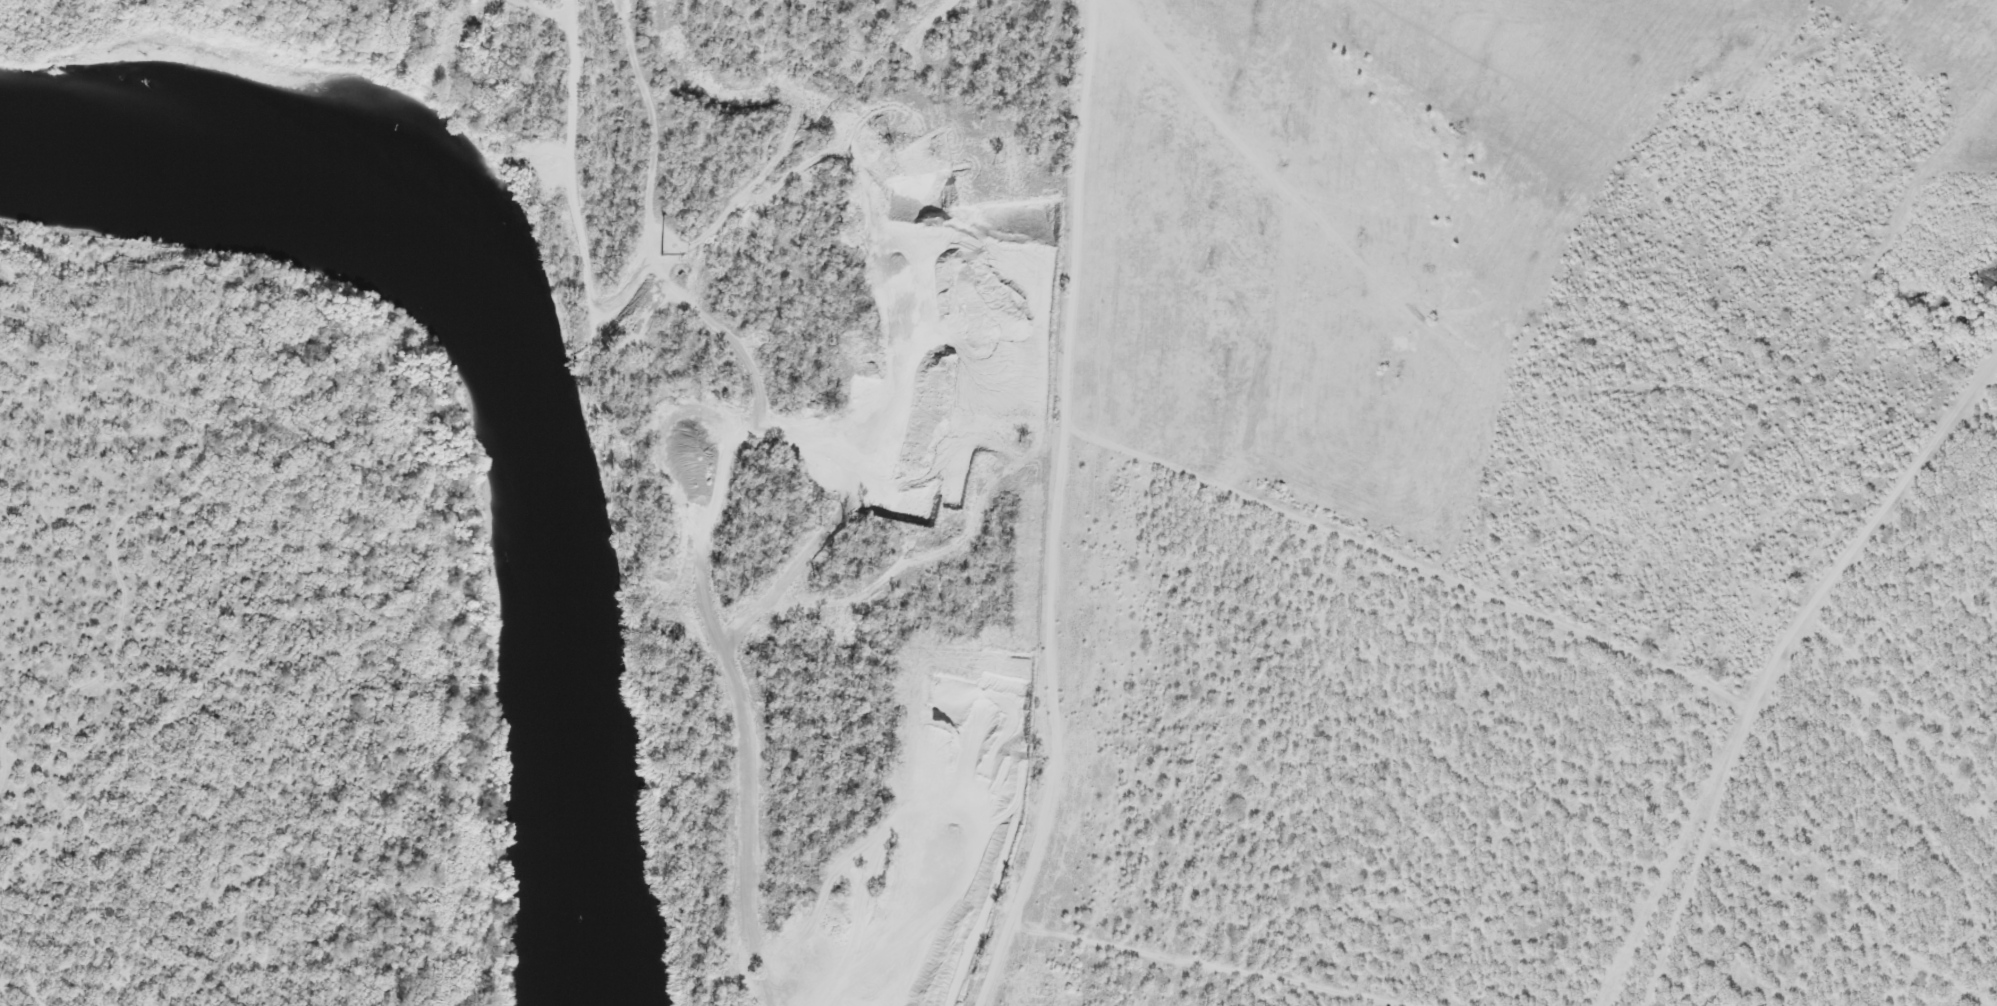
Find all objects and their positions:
road: (652, 161)
road: (1436, 329)
river: (502, 385)
road: (1059, 507)
road: (1774, 655)
road: (1964, 850)

